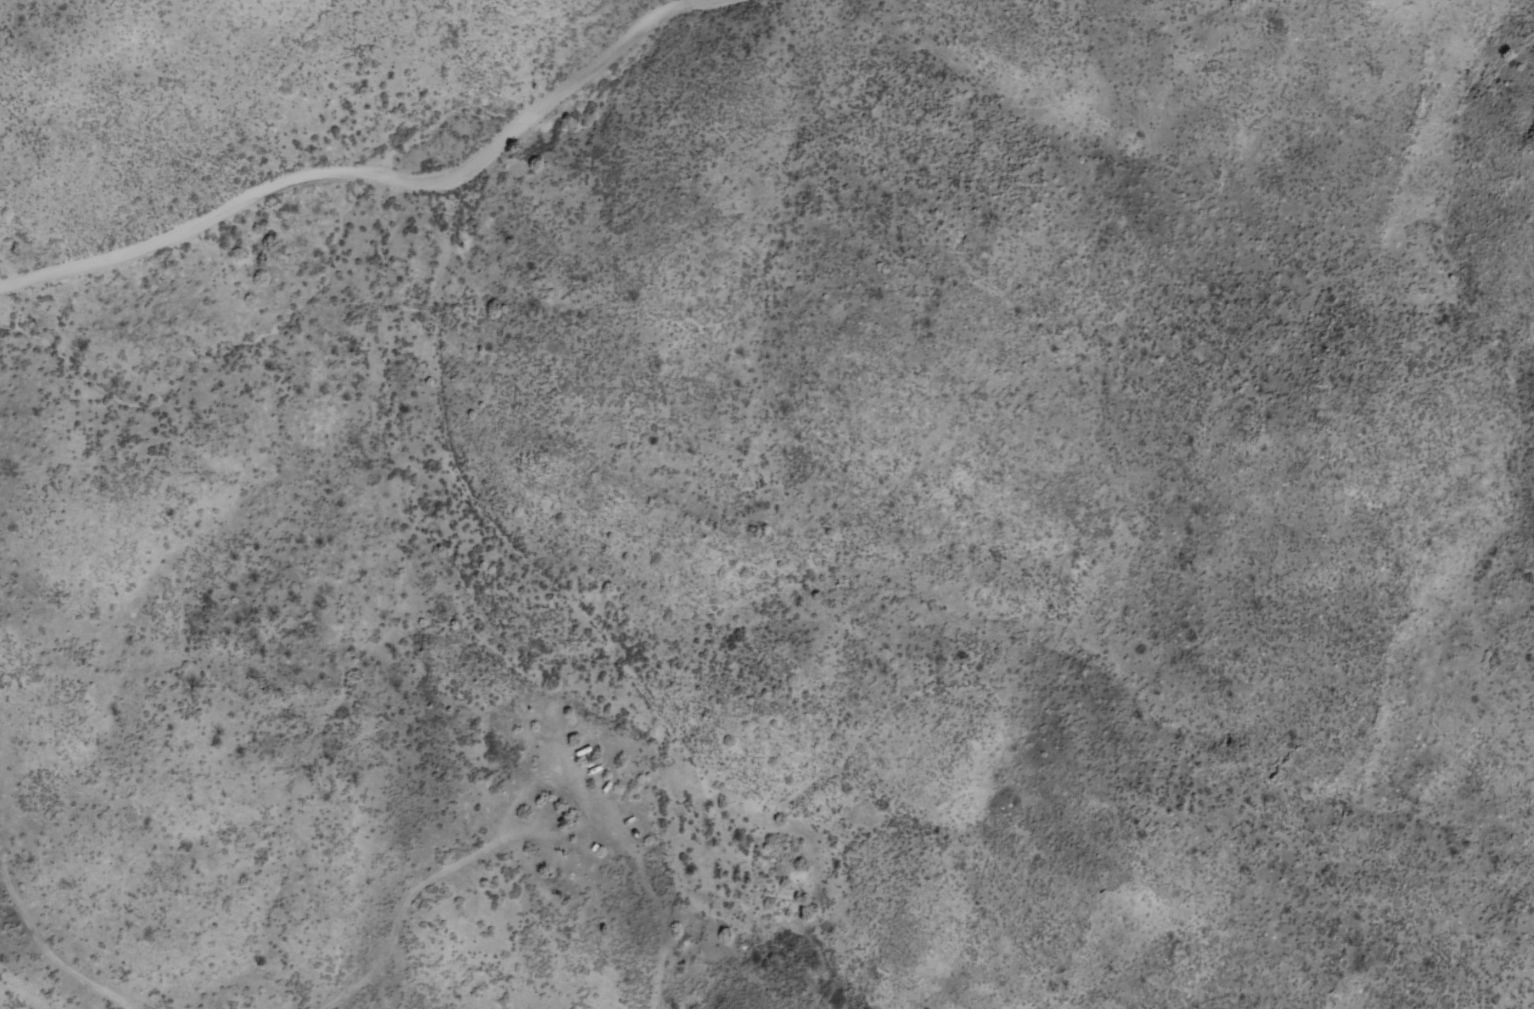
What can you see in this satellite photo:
road: (377, 180)

